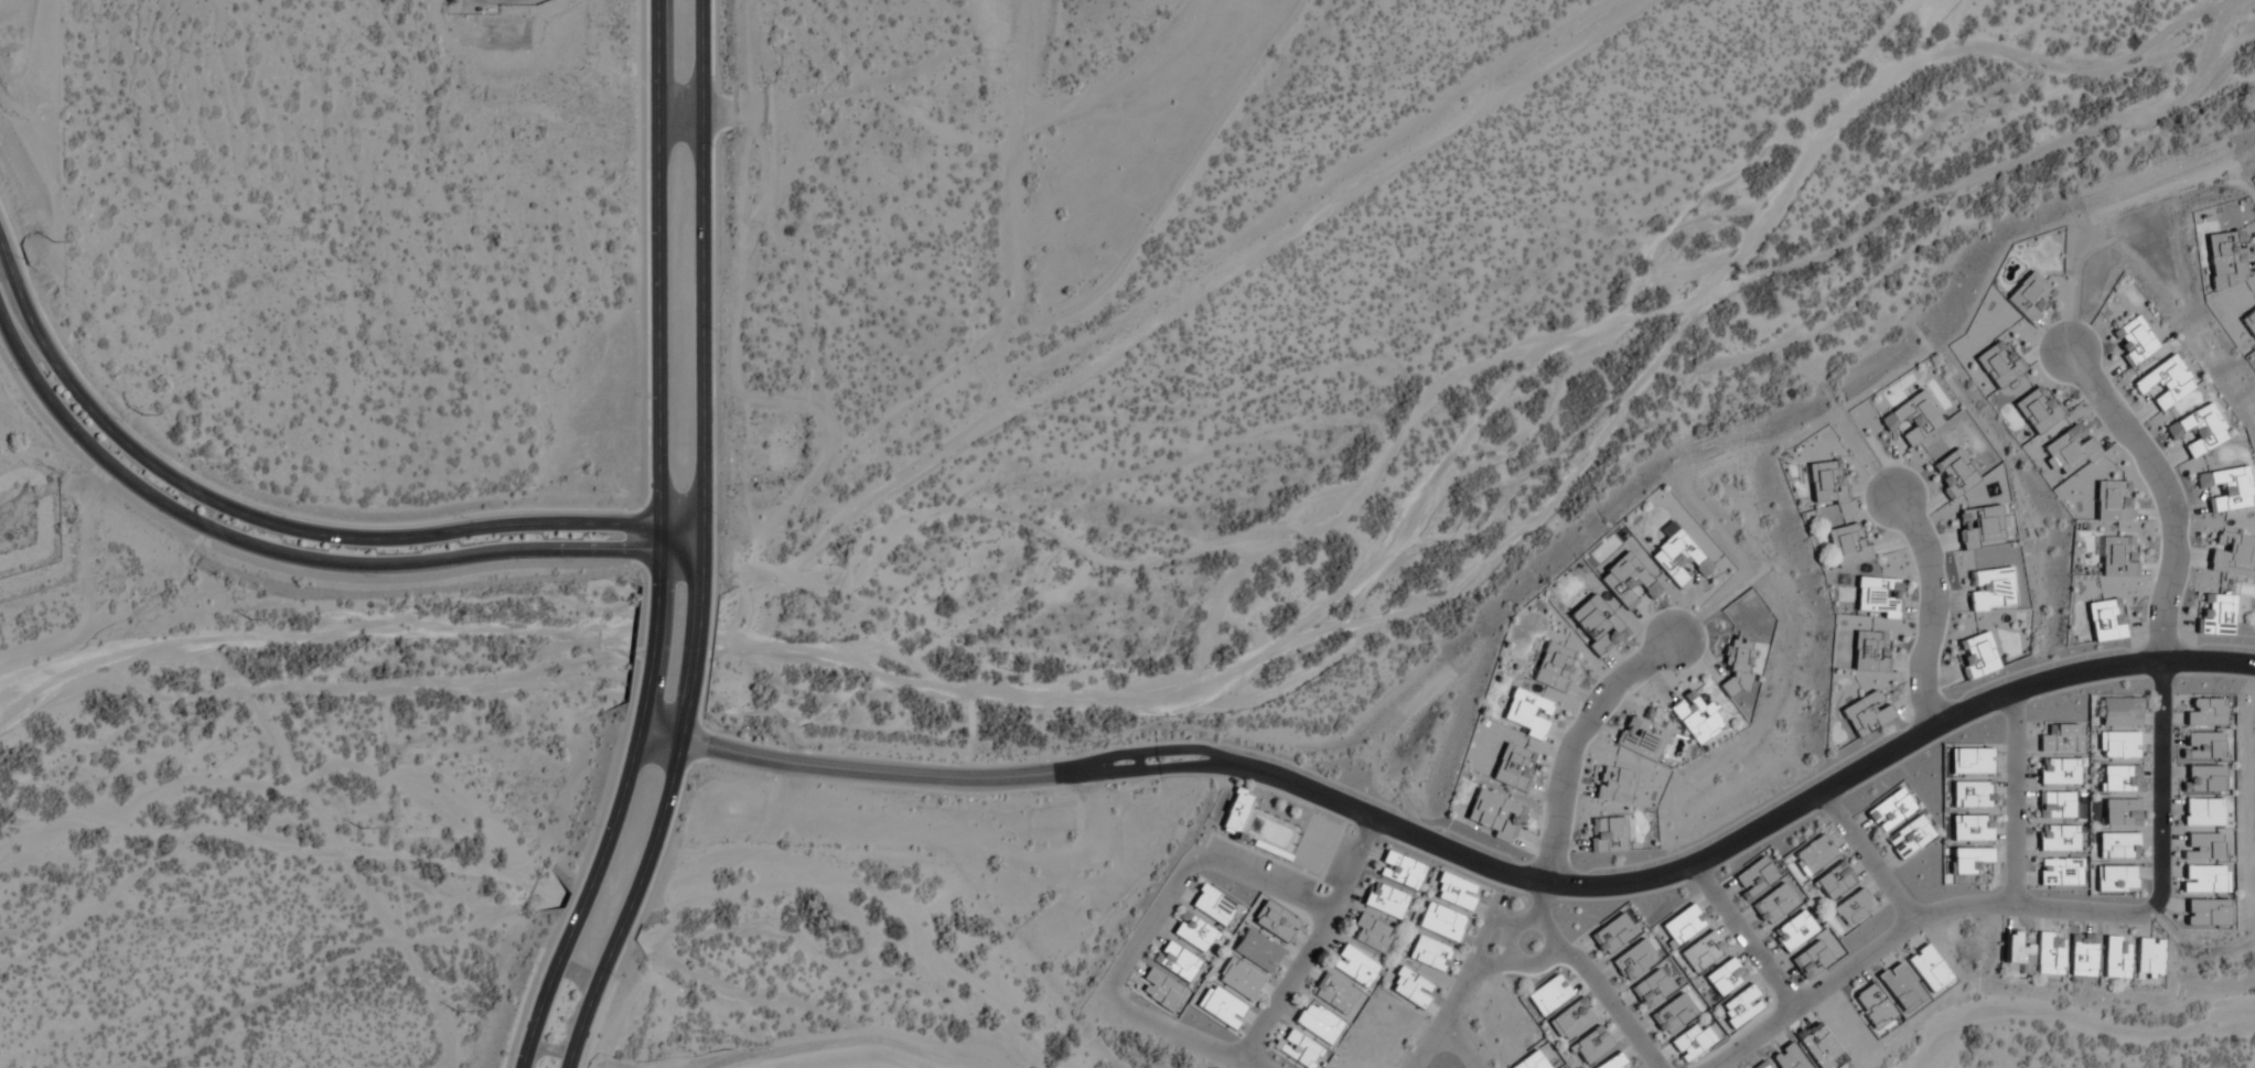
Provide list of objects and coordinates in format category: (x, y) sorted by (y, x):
power tower: (46, 242)
building: (2226, 255)
road: (661, 262)
road: (707, 279)
building: (2029, 294)
building: (2249, 322)
building: (2135, 343)
building: (1998, 363)
building: (2163, 381)
building: (2037, 408)
power tower: (138, 412)
building: (1913, 417)
building: (2197, 430)
building: (2070, 449)
building: (1953, 472)
building: (1825, 482)
building: (2226, 487)
road: (2163, 493)
building: (2112, 501)
road: (264, 521)
road: (685, 525)
building: (1979, 526)
building: (1847, 543)
road: (658, 551)
building: (2231, 551)
building: (2117, 555)
building: (1678, 558)
road: (300, 562)
road: (702, 568)
building: (1628, 579)
building: (1991, 587)
building: (1878, 595)
road: (1933, 612)
building: (2216, 613)
power tower: (246, 619)
building: (2105, 619)
building: (1594, 624)
road: (651, 646)
road: (694, 650)
building: (1870, 651)
building: (1976, 654)
building: (1553, 666)
building: (1736, 666)
building: (2205, 711)
building: (1525, 712)
building: (1693, 712)
building: (2119, 712)
building: (1865, 713)
building: (1642, 736)
building: (2061, 740)
building: (2203, 744)
road: (1574, 745)
building: (2118, 745)
building: (1968, 760)
building: (1513, 766)
building: (2058, 770)
building: (2119, 778)
building: (2202, 778)
building: (1614, 784)
building: (1969, 794)
road: (2008, 799)
building: (2054, 805)
building: (1889, 809)
building: (2120, 811)
building: (2202, 811)
building: (1233, 813)
building: (1491, 813)
power tower: (355, 827)
building: (1971, 827)
building: (1609, 832)
building: (1908, 837)
building: (2058, 837)
building: (2117, 843)
building: (2201, 845)
building: (1813, 854)
building: (1968, 857)
road: (1860, 859)
road: (1483, 864)
building: (1399, 870)
building: (2059, 871)
building: (1754, 875)
building: (2115, 877)
building: (2203, 877)
building: (1832, 881)
road: (1263, 883)
building: (1453, 891)
road: (590, 894)
road: (637, 898)
building: (1384, 899)
building: (1774, 903)
building: (1211, 904)
road: (1534, 904)
road: (2028, 905)
building: (1851, 907)
building: (2205, 910)
building: (1274, 920)
building: (1440, 920)
road: (1497, 920)
building: (1680, 924)
building: (1793, 929)
building: (1192, 931)
building: (1371, 932)
building: (1612, 934)
road: (1738, 937)
road: (1311, 941)
building: (2015, 947)
building: (1256, 949)
building: (1700, 950)
building: (1428, 952)
building: (2048, 952)
building: (2081, 953)
building: (2115, 957)
building: (2148, 957)
building: (1633, 959)
building: (1810, 959)
building: (1175, 960)
road: (1512, 961)
road: (1486, 963)
building: (1354, 964)
building: (1926, 968)
building: (1724, 975)
building: (1238, 979)
road: (1456, 985)
building: (1410, 986)
building: (1651, 988)
building: (1160, 989)
building: (1900, 989)
building: (1333, 992)
building: (1548, 994)
road: (1118, 997)
road: (1606, 999)
building: (1740, 1005)
building: (1220, 1006)
power tower: (453, 1011)
building: (1673, 1013)
building: (1570, 1018)
building: (1318, 1022)
building: (1689, 1042)
road: (1457, 1044)
building: (1590, 1044)
building: (1299, 1049)
building: (1787, 1057)
building: (1531, 1061)
building: (1611, 1061)
building: (1760, 1065)

